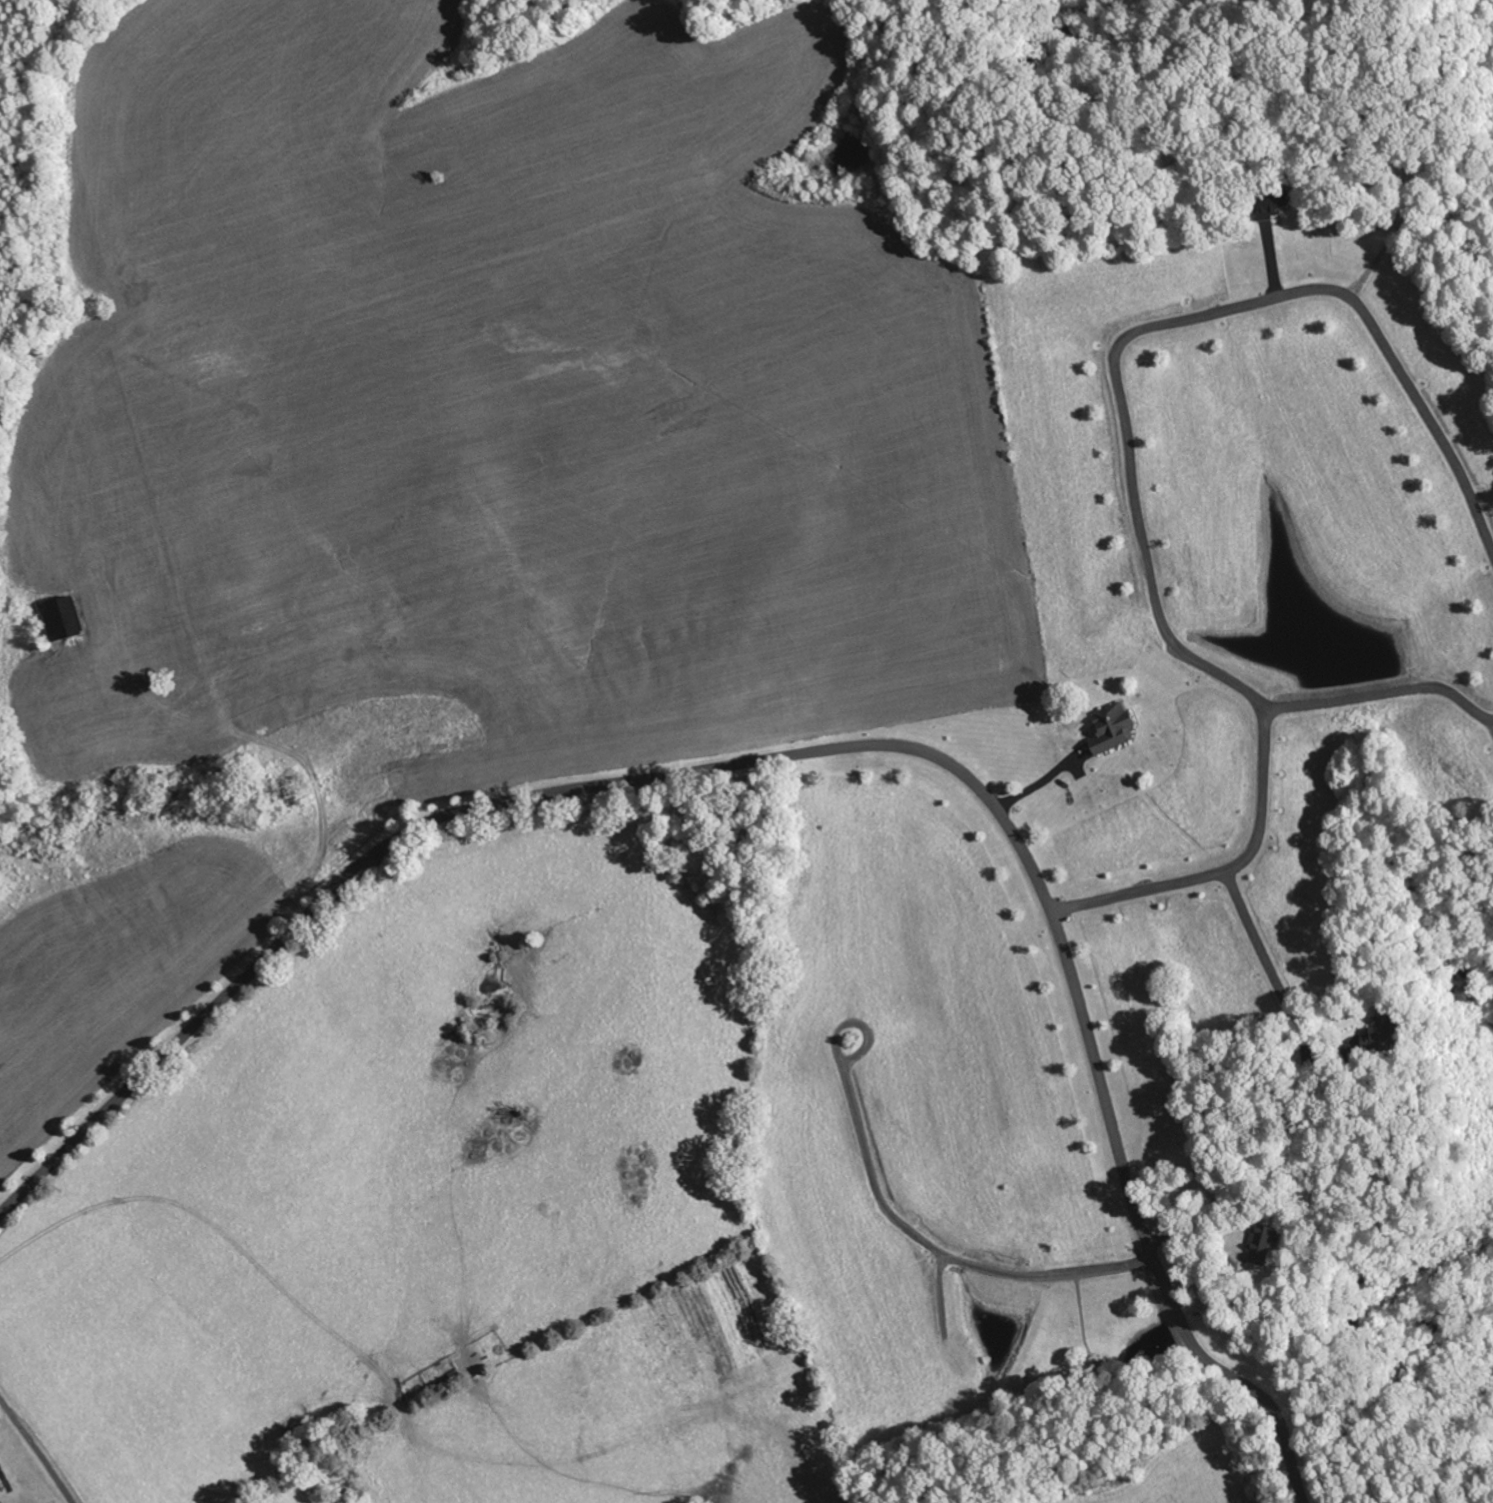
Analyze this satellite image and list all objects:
road: (1172, 318)
building: (66, 620)
road: (1381, 691)
building: (1116, 728)
road: (817, 749)
road: (1223, 870)
road: (1266, 962)
building: (1262, 1247)
road: (37, 1450)

